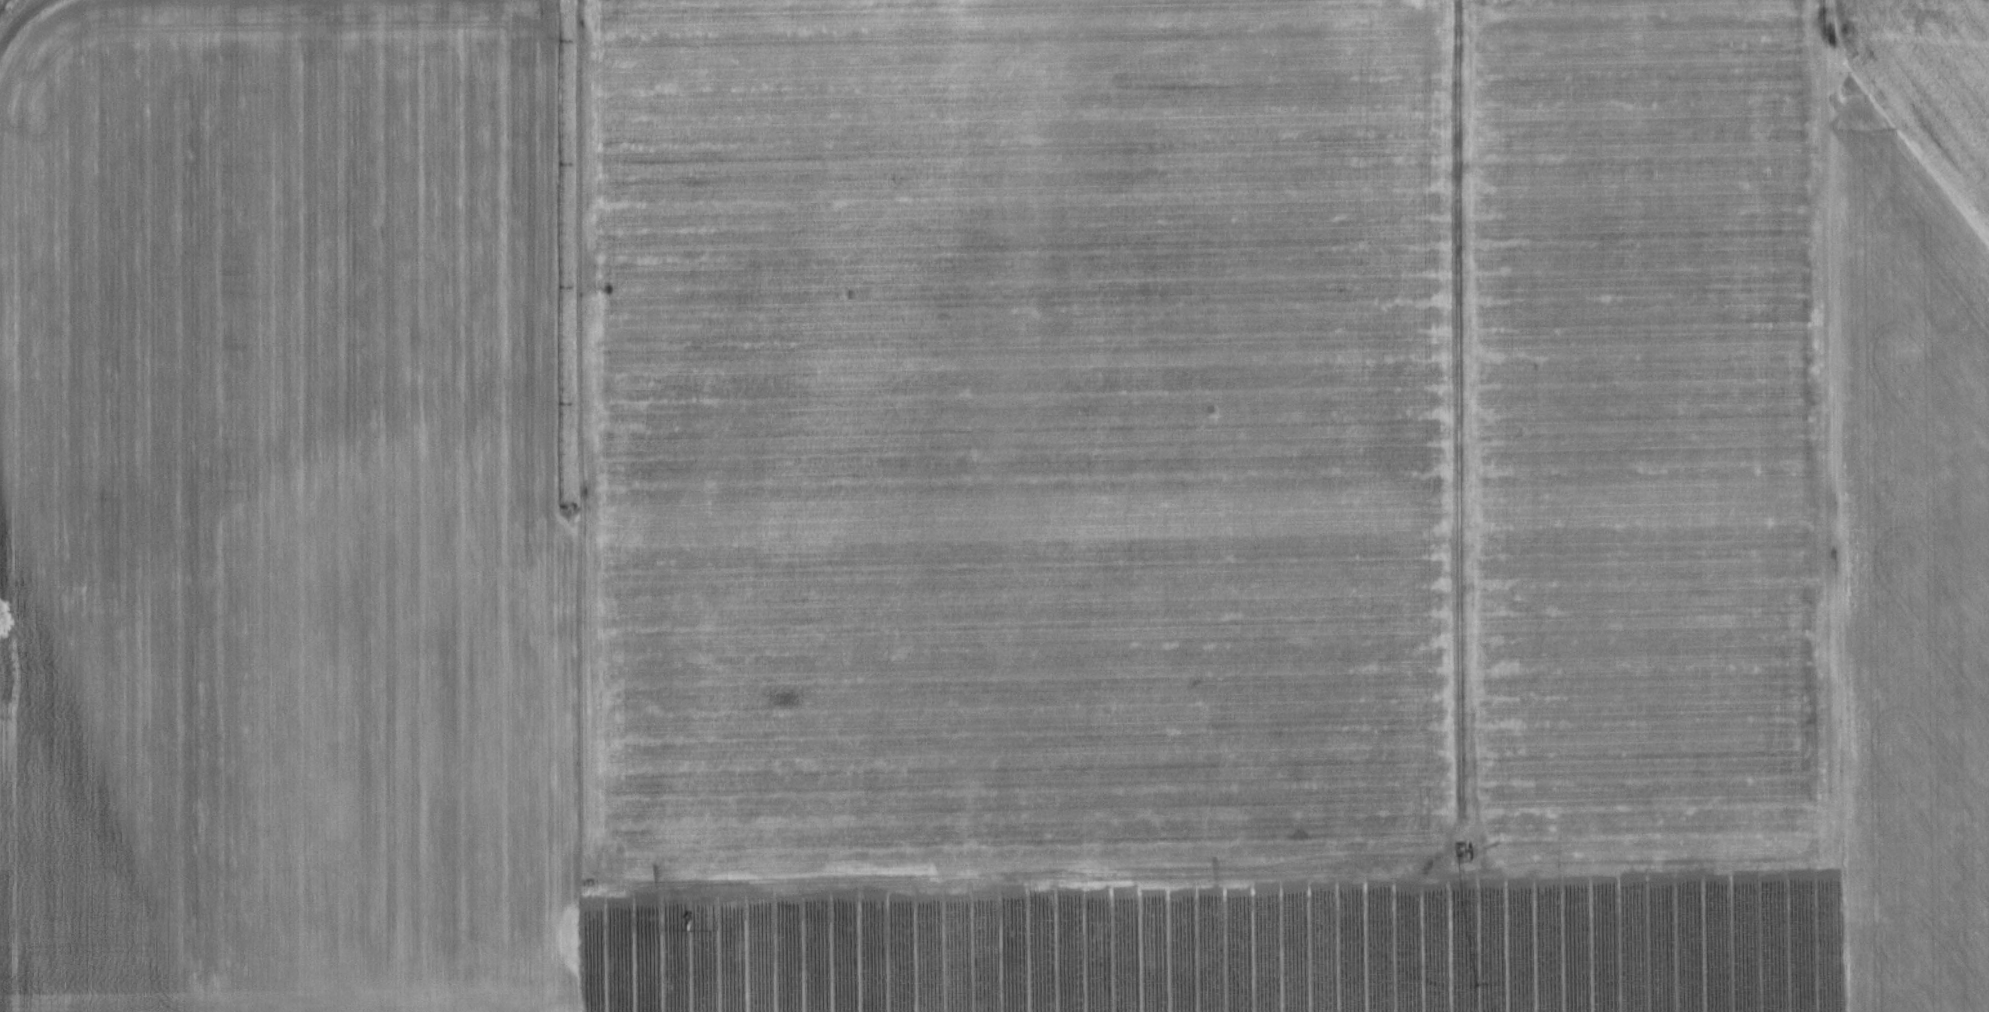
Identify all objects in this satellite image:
road: (25, 23)

